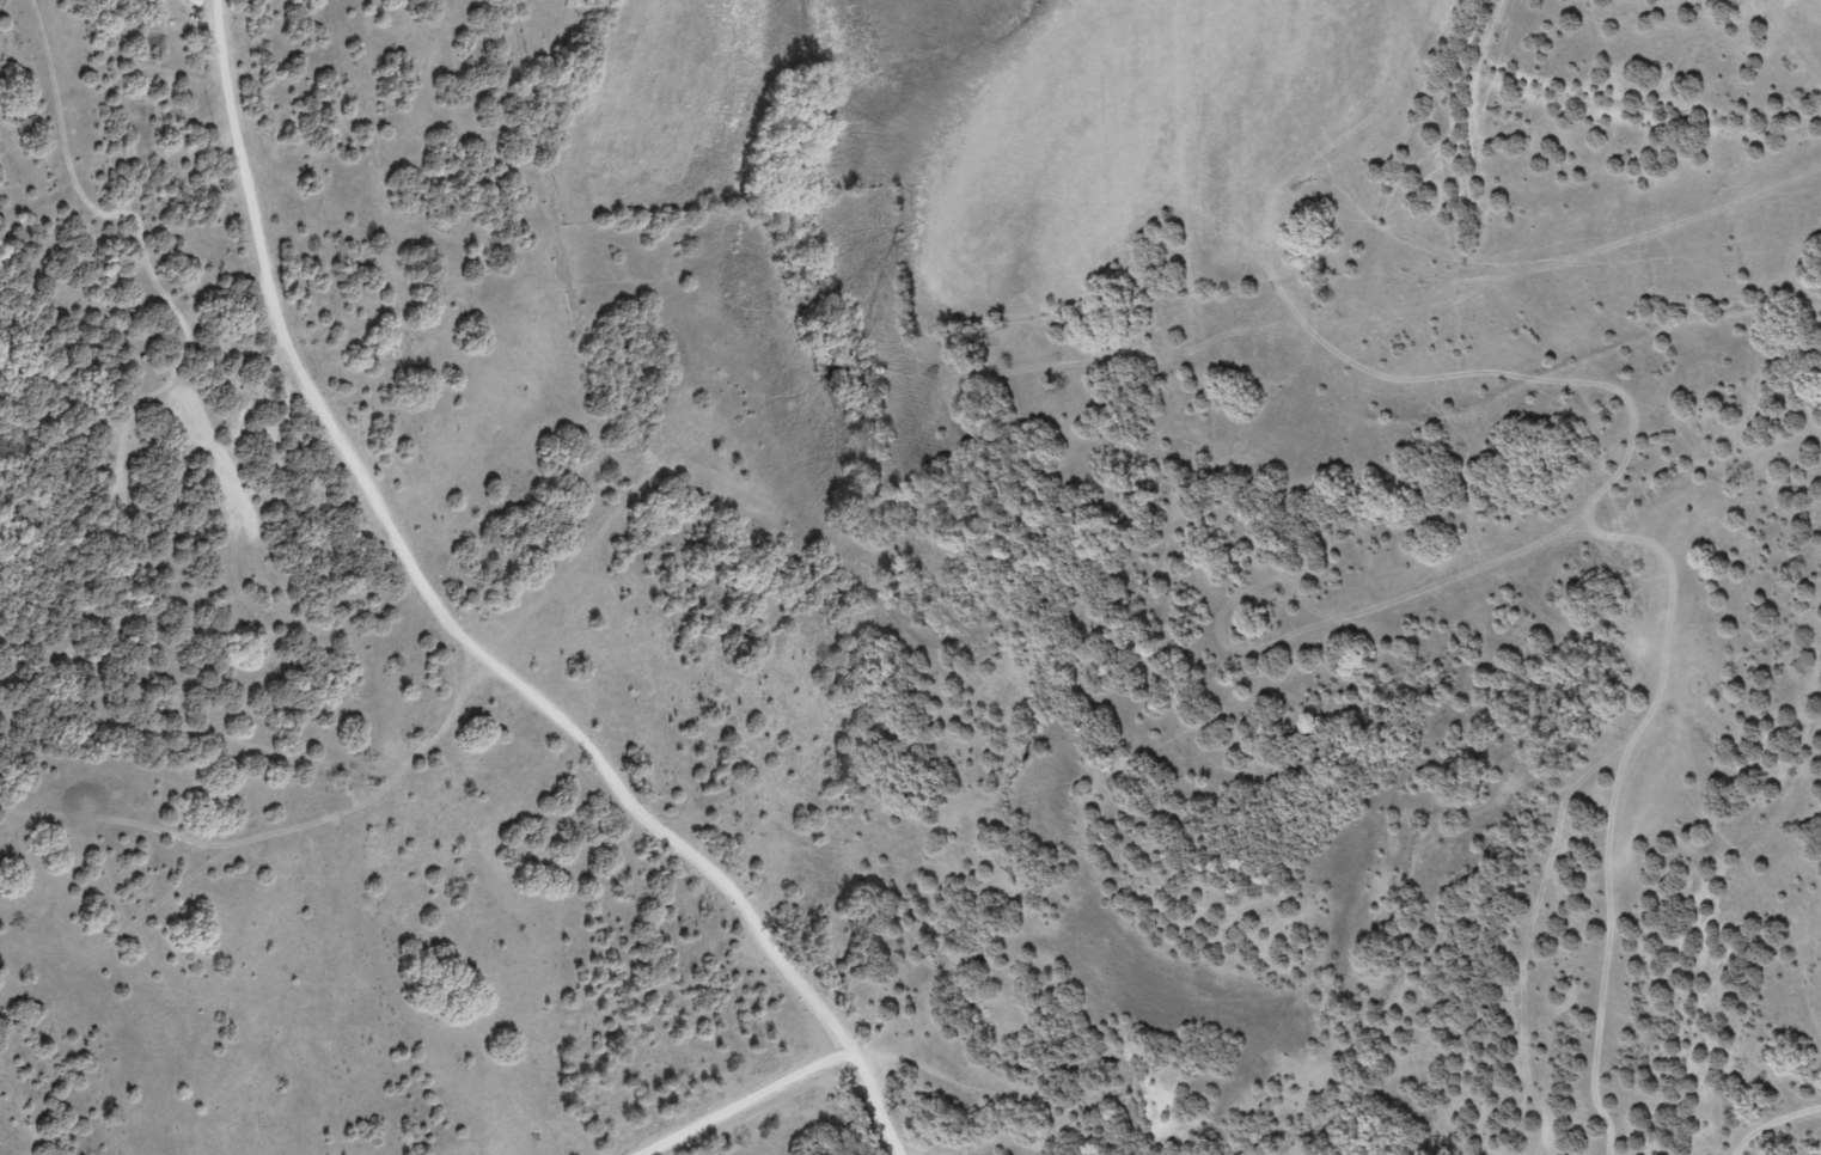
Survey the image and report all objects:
road: (499, 593)

